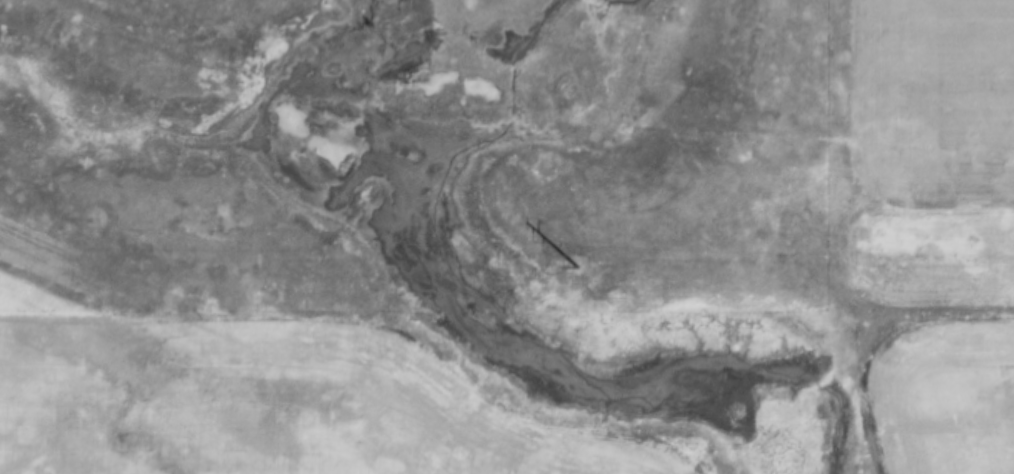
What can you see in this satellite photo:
power tower: (582, 266)

